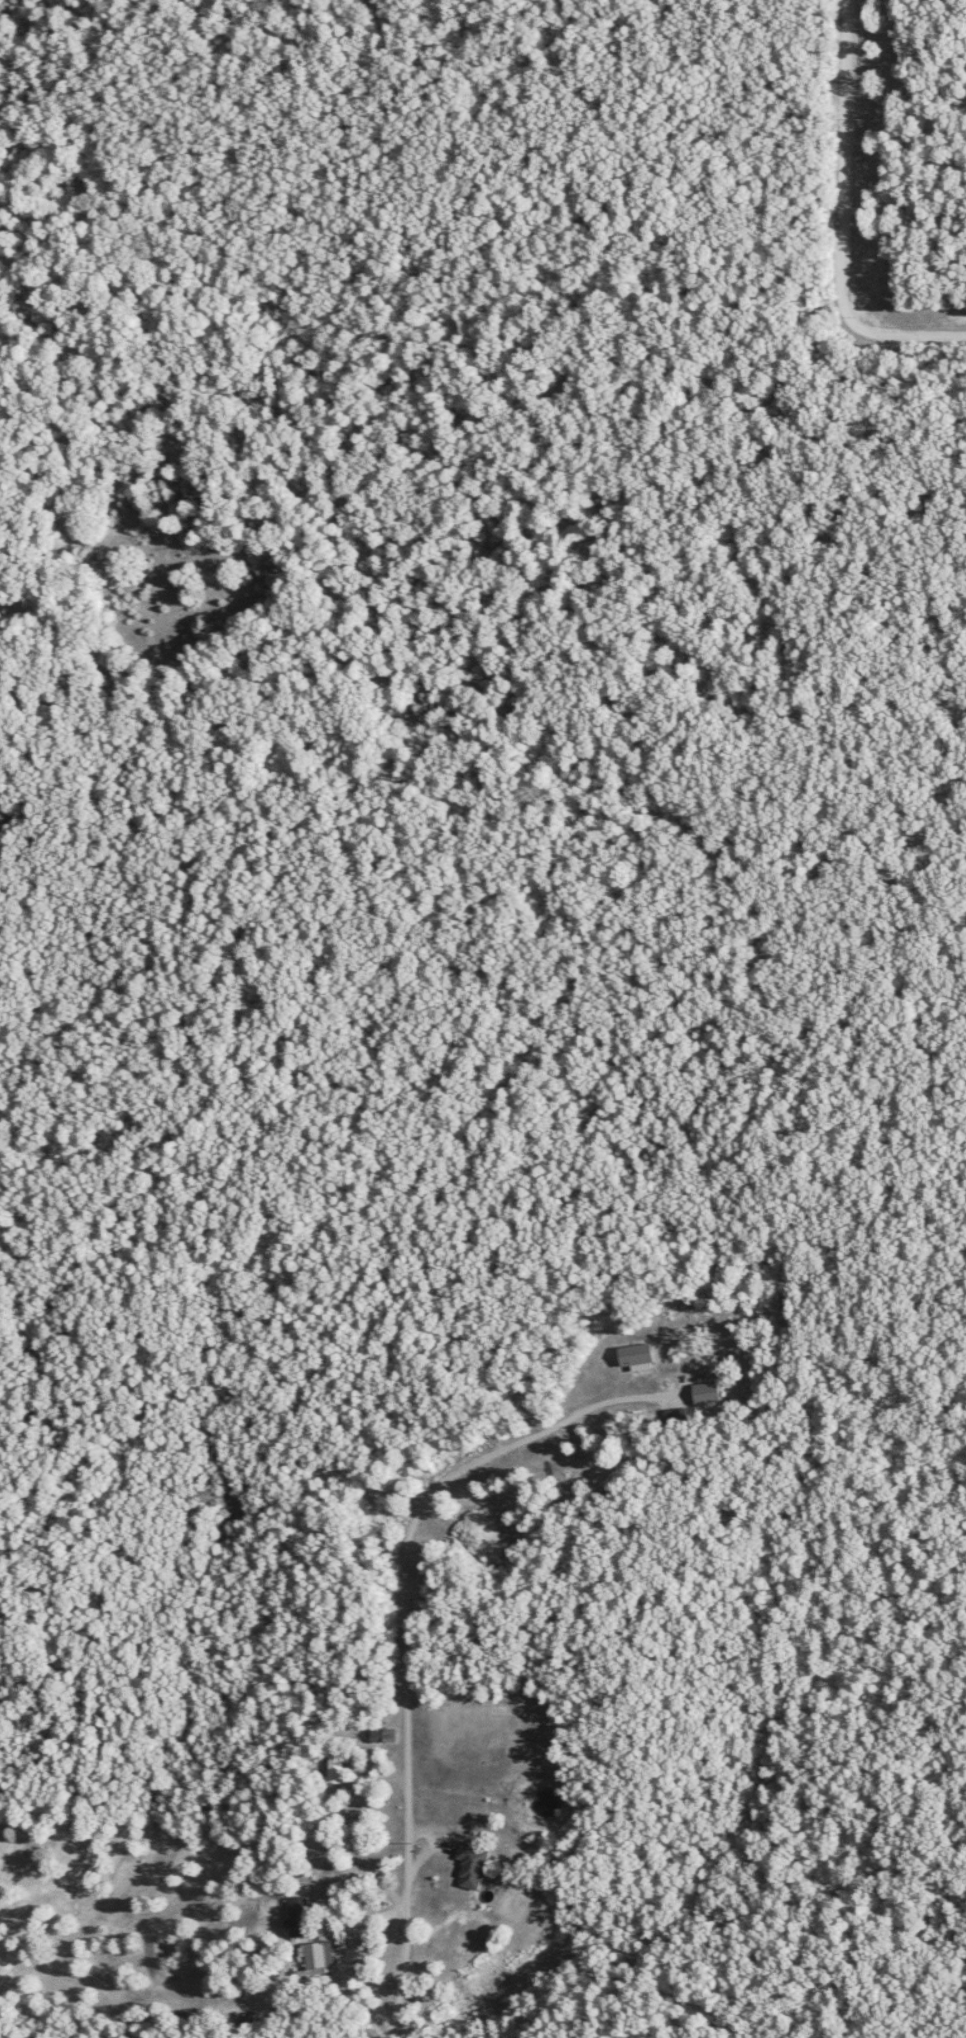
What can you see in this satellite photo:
road: (842, 219)
road: (593, 1401)
building: (568, 1463)
road: (406, 1707)
building: (395, 1728)
building: (471, 1864)
building: (297, 1914)
building: (314, 1957)

